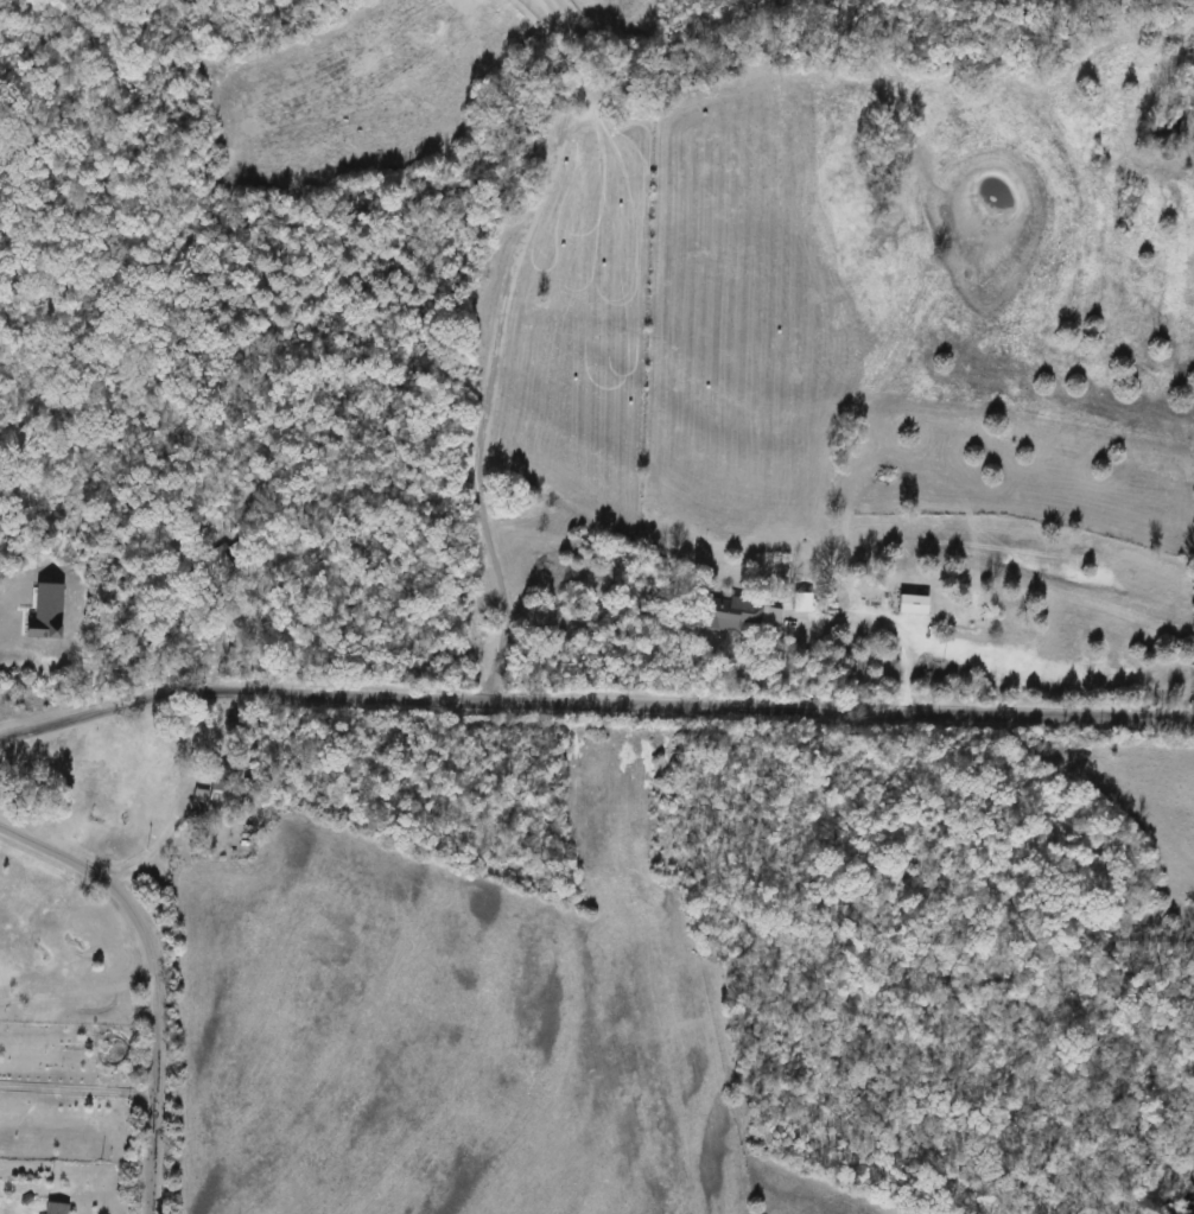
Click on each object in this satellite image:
road: (496, 344)
building: (916, 605)
building: (730, 615)
building: (977, 619)
road: (888, 627)
road: (946, 648)
road: (705, 705)
road: (107, 710)
building: (222, 789)
road: (182, 796)
road: (56, 852)
road: (154, 1042)
road: (76, 1086)
building: (59, 1209)

